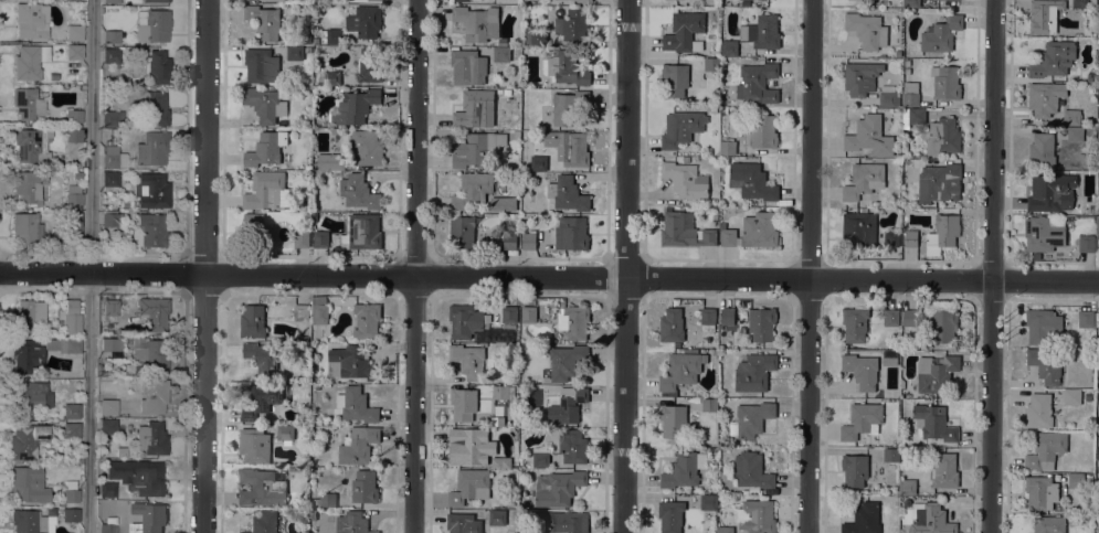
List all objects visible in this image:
building: (156, 0)
building: (462, 0)
building: (110, 1)
building: (584, 1)
building: (911, 3)
building: (1080, 3)
building: (1043, 15)
building: (362, 19)
building: (31, 21)
building: (264, 21)
building: (478, 22)
building: (152, 25)
building: (573, 25)
building: (867, 30)
building: (684, 31)
building: (762, 32)
building: (74, 33)
building: (941, 33)
building: (304, 35)
building: (533, 35)
building: (110, 36)
building: (331, 36)
building: (316, 40)
building: (503, 41)
building: (729, 46)
building: (308, 49)
building: (74, 52)
building: (295, 52)
building: (898, 53)
building: (501, 54)
building: (110, 55)
building: (1054, 58)
building: (29, 62)
building: (907, 62)
building: (711, 63)
building: (262, 65)
building: (369, 65)
building: (468, 66)
building: (157, 67)
building: (567, 67)
building: (907, 71)
building: (331, 77)
building: (862, 77)
building: (1092, 77)
building: (675, 78)
building: (945, 82)
building: (758, 83)
building: (507, 92)
building: (910, 94)
building: (888, 96)
building: (1045, 98)
building: (27, 103)
building: (265, 104)
building: (356, 106)
building: (474, 106)
building: (567, 106)
building: (152, 108)
building: (73, 116)
building: (913, 116)
building: (1071, 117)
building: (112, 118)
building: (681, 128)
building: (335, 130)
building: (761, 131)
building: (114, 132)
building: (1075, 134)
building: (73, 135)
building: (517, 135)
building: (869, 136)
building: (943, 136)
building: (30, 145)
building: (366, 147)
building: (727, 147)
building: (151, 148)
building: (266, 148)
building: (477, 149)
building: (574, 150)
building: (1042, 150)
building: (109, 156)
building: (330, 161)
building: (538, 162)
building: (76, 174)
building: (109, 178)
building: (686, 179)
building: (751, 181)
building: (865, 181)
building: (939, 182)
building: (29, 188)
building: (151, 190)
building: (265, 190)
building: (472, 190)
building: (358, 191)
building: (1052, 192)
building: (568, 193)
building: (73, 195)
building: (504, 203)
building: (110, 218)
building: (71, 226)
building: (257, 227)
building: (516, 227)
building: (1097, 227)
building: (25, 228)
building: (685, 230)
building: (760, 230)
building: (149, 231)
building: (361, 231)
building: (462, 231)
building: (867, 231)
building: (944, 231)
building: (1045, 232)
building: (571, 233)
building: (729, 237)
building: (910, 237)
building: (302, 238)
building: (319, 238)
building: (529, 239)
building: (509, 241)
building: (1087, 243)
road: (45, 254)
building: (1036, 255)
road: (92, 266)
road: (205, 266)
road: (415, 266)
road: (627, 266)
road: (811, 266)
road: (993, 266)
road: (549, 276)
road: (45, 288)
building: (109, 307)
building: (319, 310)
building: (154, 312)
building: (300, 312)
building: (509, 313)
building: (528, 313)
building: (727, 316)
building: (24, 317)
building: (890, 317)
building: (909, 317)
building: (71, 318)
building: (1086, 318)
building: (708, 319)
building: (1097, 319)
building: (367, 320)
building: (465, 320)
building: (253, 321)
building: (574, 321)
building: (762, 323)
building: (855, 323)
building: (672, 324)
building: (942, 324)
building: (1043, 324)
building: (484, 343)
building: (63, 344)
building: (110, 347)
building: (147, 354)
building: (25, 355)
building: (262, 358)
building: (468, 360)
building: (567, 361)
building: (890, 361)
building: (351, 363)
building: (1045, 364)
building: (862, 370)
building: (680, 371)
building: (754, 372)
building: (936, 372)
building: (501, 392)
building: (152, 396)
building: (1072, 396)
building: (30, 397)
building: (1087, 397)
building: (261, 399)
building: (356, 404)
building: (463, 404)
building: (564, 404)
building: (709, 404)
building: (108, 407)
building: (71, 411)
building: (1039, 411)
building: (526, 412)
building: (478, 417)
building: (673, 419)
building: (750, 419)
building: (525, 420)
building: (862, 420)
building: (934, 422)
building: (107, 426)
building: (71, 430)
building: (285, 434)
building: (151, 438)
building: (25, 440)
building: (254, 445)
building: (358, 445)
building: (471, 446)
building: (572, 446)
building: (1046, 450)
building: (120, 451)
building: (891, 455)
building: (541, 456)
building: (501, 461)
building: (684, 469)
building: (855, 469)
building: (752, 470)
building: (944, 470)
building: (134, 477)
building: (1078, 480)
building: (28, 484)
building: (364, 486)
building: (469, 486)
building: (558, 487)
building: (908, 487)
building: (261, 488)
building: (1097, 488)
building: (70, 491)
building: (1043, 493)
building: (326, 499)
building: (104, 502)
building: (707, 502)
building: (70, 514)
building: (670, 515)
building: (497, 516)
building: (758, 516)
building: (148, 518)
building: (864, 519)
building: (930, 519)
building: (563, 521)
building: (28, 522)
building: (264, 522)
building: (352, 522)
building: (463, 523)
building: (1049, 524)
building: (107, 529)
building: (725, 530)

